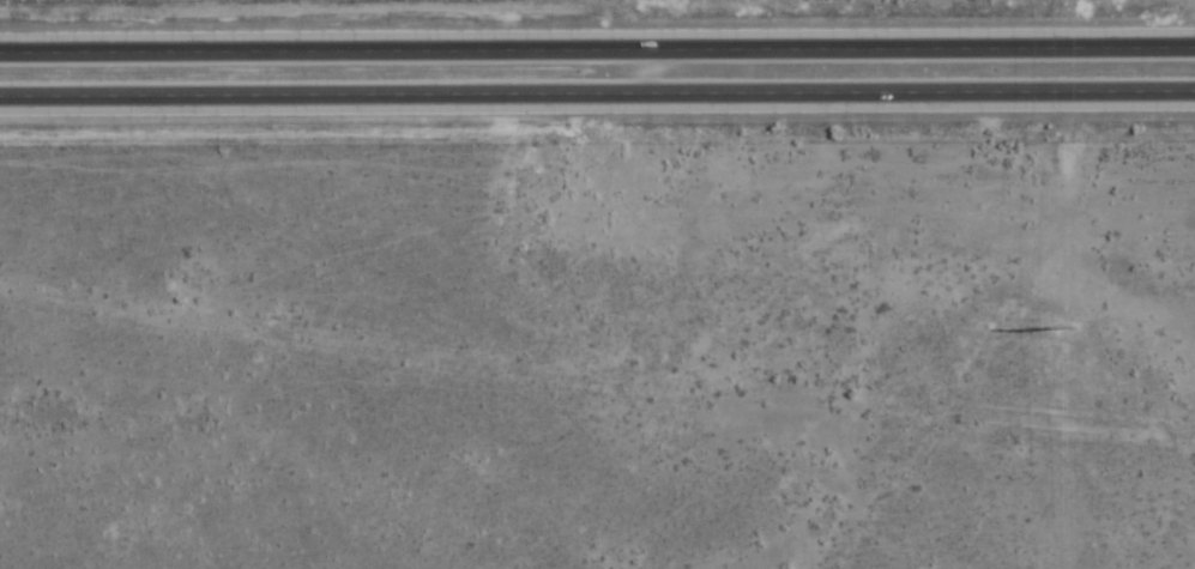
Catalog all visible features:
road: (597, 49)
road: (597, 93)
power tower: (1062, 326)

